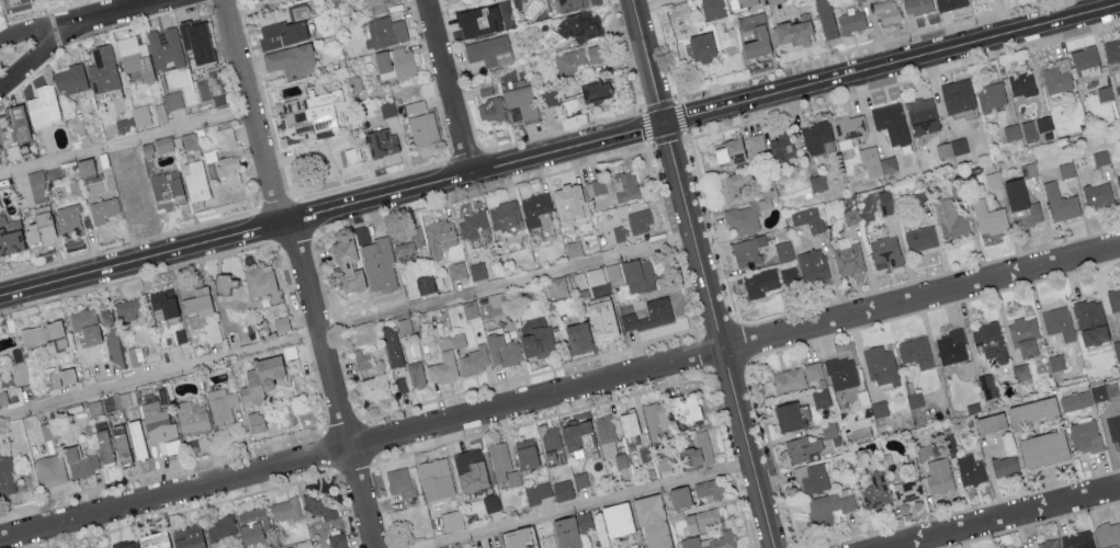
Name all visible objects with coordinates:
building: (773, 1)
building: (739, 2)
building: (949, 3)
building: (569, 4)
road: (634, 5)
road: (657, 5)
building: (917, 5)
building: (375, 7)
building: (712, 9)
building: (886, 11)
building: (825, 19)
building: (478, 20)
road: (88, 22)
building: (851, 22)
building: (579, 26)
building: (386, 31)
building: (794, 31)
building: (281, 33)
building: (760, 35)
building: (193, 39)
building: (701, 46)
building: (165, 47)
building: (489, 50)
building: (1112, 50)
building: (1084, 56)
building: (135, 57)
building: (579, 58)
road: (37, 59)
building: (291, 60)
building: (394, 62)
road: (893, 65)
road: (650, 67)
building: (103, 68)
building: (1087, 72)
building: (1057, 76)
building: (71, 79)
building: (1021, 83)
road: (452, 87)
building: (484, 87)
building: (593, 90)
building: (1104, 92)
building: (991, 95)
building: (550, 96)
building: (957, 96)
building: (173, 100)
building: (520, 103)
building: (415, 105)
building: (44, 106)
building: (387, 109)
building: (489, 110)
building: (159, 111)
building: (310, 111)
road: (254, 112)
building: (921, 115)
building: (135, 118)
building: (891, 123)
building: (1043, 123)
building: (13, 125)
building: (848, 128)
building: (422, 129)
building: (1029, 129)
building: (1011, 132)
building: (816, 136)
building: (184, 141)
building: (381, 141)
building: (755, 142)
road: (127, 144)
building: (162, 144)
building: (781, 147)
building: (951, 147)
road: (570, 148)
building: (729, 152)
building: (225, 156)
building: (1100, 157)
building: (875, 162)
building: (83, 167)
building: (1031, 169)
building: (1065, 170)
building: (993, 179)
building: (195, 180)
road: (680, 181)
building: (1118, 181)
building: (817, 182)
building: (37, 185)
building: (615, 185)
building: (729, 186)
building: (166, 189)
building: (1097, 195)
building: (765, 198)
building: (567, 201)
building: (885, 203)
building: (1021, 203)
building: (1060, 203)
building: (0, 204)
building: (104, 209)
building: (534, 210)
building: (502, 214)
building: (851, 216)
building: (68, 217)
building: (988, 217)
building: (807, 218)
building: (743, 219)
building: (950, 219)
building: (638, 221)
building: (472, 225)
building: (38, 227)
building: (614, 235)
building: (9, 236)
building: (439, 236)
road: (237, 237)
building: (920, 238)
building: (406, 240)
building: (573, 248)
building: (747, 250)
building: (783, 251)
building: (884, 252)
building: (848, 256)
building: (346, 264)
building: (378, 264)
building: (812, 265)
building: (456, 270)
building: (477, 271)
building: (598, 275)
building: (637, 275)
building: (790, 275)
building: (760, 282)
building: (258, 283)
building: (224, 284)
building: (425, 284)
building: (558, 286)
building: (192, 297)
building: (162, 301)
building: (126, 309)
building: (470, 309)
building: (649, 315)
building: (599, 318)
building: (1057, 322)
building: (1090, 322)
building: (281, 323)
building: (84, 326)
building: (404, 326)
road: (347, 328)
building: (44, 334)
building: (576, 335)
building: (1023, 335)
building: (112, 339)
building: (989, 341)
building: (535, 342)
building: (392, 346)
building: (951, 346)
building: (502, 349)
building: (1117, 349)
building: (915, 352)
building: (135, 354)
building: (361, 358)
building: (445, 359)
building: (475, 359)
building: (1056, 362)
building: (881, 366)
building: (813, 370)
building: (1020, 372)
building: (841, 373)
building: (416, 374)
building: (59, 377)
building: (259, 378)
road: (336, 384)
building: (401, 384)
building: (987, 385)
building: (373, 387)
building: (2, 393)
road: (561, 393)
road: (735, 393)
building: (1099, 397)
building: (821, 398)
building: (914, 399)
building: (1075, 401)
building: (106, 403)
building: (222, 406)
building: (683, 406)
building: (879, 408)
building: (1031, 411)
building: (790, 415)
building: (192, 416)
building: (655, 419)
building: (254, 422)
building: (991, 422)
building: (626, 423)
building: (160, 426)
building: (829, 430)
building: (1115, 430)
building: (576, 435)
building: (606, 436)
building: (1085, 436)
building: (135, 438)
building: (120, 444)
building: (104, 445)
building: (551, 445)
building: (801, 448)
building: (1041, 448)
building: (697, 450)
building: (525, 454)
building: (80, 461)
building: (663, 463)
building: (886, 463)
building: (502, 464)
building: (1004, 466)
building: (50, 469)
building: (470, 469)
building: (970, 469)
building: (938, 475)
building: (432, 476)
building: (5, 477)
building: (812, 477)
building: (579, 479)
building: (400, 482)
building: (708, 489)
building: (874, 489)
building: (562, 490)
building: (907, 490)
building: (536, 492)
building: (678, 496)
building: (490, 502)
road: (592, 502)
building: (317, 506)
building: (827, 507)
building: (284, 510)
building: (615, 518)
road: (1006, 518)
building: (699, 521)
building: (652, 522)
building: (252, 524)
building: (219, 526)
building: (567, 530)
building: (1107, 535)
building: (186, 537)
building: (520, 537)
building: (151, 539)
building: (1076, 539)
building: (337, 540)
building: (711, 540)
building: (123, 544)
building: (1045, 544)
building: (455, 546)
building: (287, 547)
building: (602, 547)
building: (635, 547)
building: (1019, 547)

